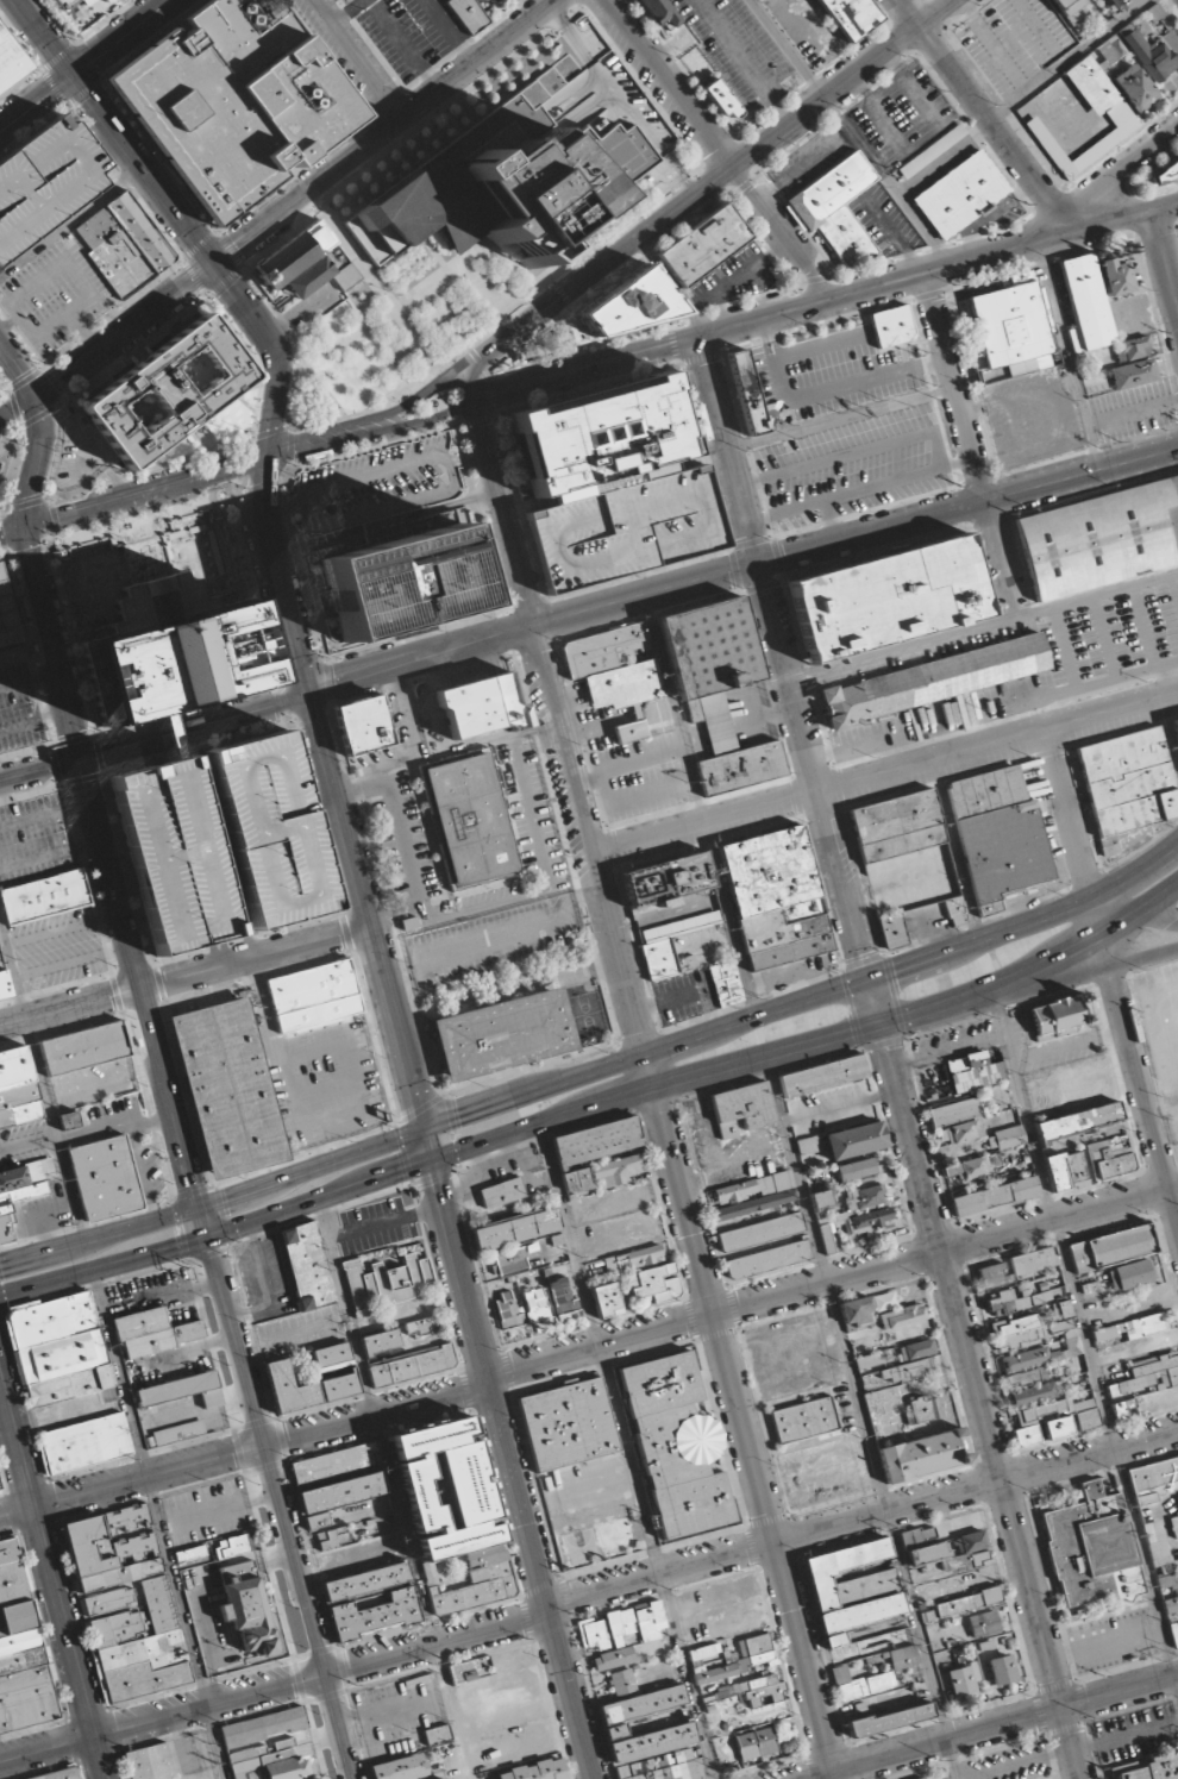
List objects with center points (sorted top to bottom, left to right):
building: (88, 1)
building: (119, 2)
building: (65, 4)
building: (1122, 4)
road: (347, 12)
building: (1070, 12)
road: (910, 13)
road: (939, 13)
building: (468, 15)
building: (660, 15)
building: (851, 15)
parking lot: (413, 33)
parking lot: (1011, 37)
parking lot: (744, 48)
building: (1110, 50)
building: (1149, 54)
building: (11, 61)
road: (87, 65)
traffic signals: (75, 76)
building: (1091, 84)
building: (1134, 88)
building: (720, 99)
building: (237, 100)
road: (995, 130)
road: (115, 132)
road: (389, 132)
building: (1103, 144)
road: (719, 150)
building: (932, 151)
building: (1166, 171)
road: (1116, 175)
building: (43, 181)
parking garage: (43, 181)
road: (450, 183)
building: (551, 183)
building: (960, 195)
road: (1165, 207)
building: (835, 208)
road: (70, 219)
road: (664, 221)
road: (1110, 223)
building: (124, 245)
building: (703, 245)
road: (1164, 258)
building: (294, 263)
traffic signals: (214, 264)
building: (1115, 277)
building: (1085, 303)
building: (626, 305)
building: (1014, 324)
road: (738, 326)
building: (892, 326)
road: (125, 331)
building: (1132, 349)
road: (274, 351)
road: (1073, 356)
road: (18, 369)
parking lot: (829, 371)
building: (1135, 372)
building: (746, 391)
building: (164, 393)
traffic signals: (35, 396)
road: (17, 408)
parking lot: (1135, 412)
building: (599, 433)
road: (338, 434)
road: (969, 443)
traffic signals: (269, 457)
park: (5, 462)
road: (37, 462)
parking lot: (853, 465)
road: (134, 497)
traffic signals: (24, 528)
building: (625, 528)
parking garage: (625, 528)
building: (1097, 539)
building: (400, 582)
railway: (1090, 594)
building: (888, 597)
road: (587, 609)
building: (7, 628)
parking lot: (1113, 638)
railway: (42, 653)
building: (174, 662)
building: (621, 676)
building: (932, 681)
building: (718, 689)
building: (481, 707)
parking lot: (18, 708)
parking lot: (1123, 722)
building: (363, 725)
building: (1176, 728)
road: (884, 775)
building: (1126, 784)
road: (338, 809)
building: (469, 818)
building: (270, 829)
building: (997, 837)
parking lot: (35, 841)
building: (904, 852)
building: (175, 854)
road: (108, 867)
building: (666, 881)
building: (45, 896)
building: (776, 897)
building: (955, 912)
road: (1134, 912)
building: (891, 931)
parking lot: (493, 939)
building: (669, 942)
parking lot: (58, 948)
traffic signals: (861, 952)
building: (685, 964)
building: (0, 965)
traffic signals: (895, 971)
road: (1085, 971)
road: (1108, 975)
road: (184, 977)
building: (725, 984)
building: (4, 986)
building: (315, 995)
building: (1061, 1014)
traffic signals: (848, 1033)
building: (503, 1034)
road: (693, 1035)
road: (813, 1044)
building: (84, 1047)
traffic signals: (889, 1051)
railway: (146, 1054)
road: (890, 1058)
railway: (153, 1069)
building: (975, 1071)
building: (823, 1075)
building: (228, 1086)
parking lot: (326, 1088)
building: (1086, 1088)
building: (17, 1089)
road: (654, 1089)
building: (742, 1108)
traffic signals: (459, 1115)
building: (958, 1117)
building: (69, 1120)
building: (1079, 1120)
road: (54, 1130)
building: (854, 1139)
building: (596, 1141)
building: (806, 1146)
building: (992, 1153)
building: (1114, 1160)
building: (856, 1169)
building: (615, 1170)
building: (1067, 1170)
traffic signals: (399, 1171)
building: (106, 1177)
building: (25, 1179)
building: (576, 1180)
traffic signals: (192, 1183)
traffic signals: (436, 1185)
building: (502, 1192)
building: (753, 1195)
building: (995, 1196)
traffic signals: (227, 1197)
building: (864, 1197)
building: (821, 1199)
road: (202, 1222)
building: (5, 1223)
parking lot: (374, 1226)
building: (853, 1226)
building: (516, 1228)
building: (760, 1232)
road: (217, 1234)
road: (99, 1235)
traffic signals: (175, 1247)
building: (1111, 1248)
building: (633, 1259)
building: (767, 1259)
building: (510, 1260)
traffic signals: (2, 1263)
building: (1033, 1263)
building: (307, 1266)
building: (1132, 1274)
building: (992, 1276)
building: (384, 1283)
building: (654, 1284)
building: (562, 1297)
building: (606, 1301)
building: (884, 1301)
building: (1013, 1302)
building: (535, 1304)
building: (1060, 1310)
building: (507, 1311)
building: (856, 1311)
building: (902, 1316)
building: (51, 1321)
building: (421, 1326)
building: (1128, 1329)
building: (153, 1332)
parking lot: (300, 1333)
building: (1034, 1333)
road: (1083, 1334)
building: (380, 1341)
road: (587, 1348)
building: (916, 1349)
building: (61, 1357)
building: (332, 1357)
building: (1027, 1359)
building: (869, 1360)
building: (412, 1365)
building: (910, 1370)
building: (1148, 1374)
building: (1027, 1377)
building: (69, 1385)
building: (338, 1386)
building: (289, 1389)
building: (182, 1390)
building: (1033, 1393)
road: (857, 1399)
building: (925, 1409)
building: (1127, 1409)
building: (73, 1410)
building: (804, 1420)
building: (1053, 1421)
building: (568, 1423)
building: (180, 1432)
building: (431, 1435)
building: (694, 1440)
building: (84, 1442)
building: (654, 1447)
road: (626, 1449)
building: (921, 1454)
building: (333, 1462)
road: (510, 1470)
building: (1152, 1479)
building: (0, 1484)
building: (465, 1485)
road: (394, 1490)
building: (343, 1492)
building: (0, 1493)
building: (420, 1496)
road: (280, 1508)
parking lot: (207, 1512)
building: (318, 1520)
road: (159, 1524)
building: (1174, 1524)
building: (333, 1537)
building: (917, 1537)
building: (458, 1540)
building: (971, 1541)
building: (87, 1546)
building: (233, 1547)
building: (1091, 1548)
building: (8, 1551)
building: (190, 1553)
building: (926, 1553)
building: (218, 1554)
building: (1161, 1556)
building: (979, 1559)
building: (840, 1568)
road: (52, 1579)
building: (365, 1581)
building: (12, 1583)
building: (866, 1586)
road: (588, 1593)
parking lot: (672, 1595)
building: (464, 1596)
building: (107, 1602)
building: (961, 1604)
building: (1170, 1604)
building: (246, 1606)
parking lot: (720, 1609)
building: (376, 1614)
building: (18, 1616)
building: (858, 1616)
building: (650, 1617)
building: (985, 1623)
building: (619, 1624)
building: (593, 1633)
building: (1173, 1634)
building: (20, 1641)
parking lot: (1113, 1641)
building: (754, 1645)
building: (702, 1652)
building: (903, 1658)
building: (613, 1659)
building: (763, 1659)
building: (741, 1664)
road: (1128, 1666)
building: (1003, 1668)
building: (464, 1672)
building: (24, 1679)
building: (965, 1679)
building: (621, 1681)
building: (860, 1684)
road: (1055, 1686)
building: (722, 1691)
building: (763, 1692)
building: (641, 1704)
building: (27, 1706)
parking lot: (400, 1708)
road: (940, 1717)
building: (890, 1720)
building: (263, 1727)
road: (995, 1728)
building: (615, 1731)
building: (437, 1735)
parking lot: (1135, 1735)
building: (651, 1741)
building: (757, 1743)
road: (827, 1748)
building: (269, 1762)
building: (150, 1764)
parking lot: (1009, 1764)
road: (763, 1766)
building: (669, 1767)
building: (395, 1768)
building: (1155, 1768)
building: (535, 1771)
building: (62, 1774)
building: (922, 1778)

